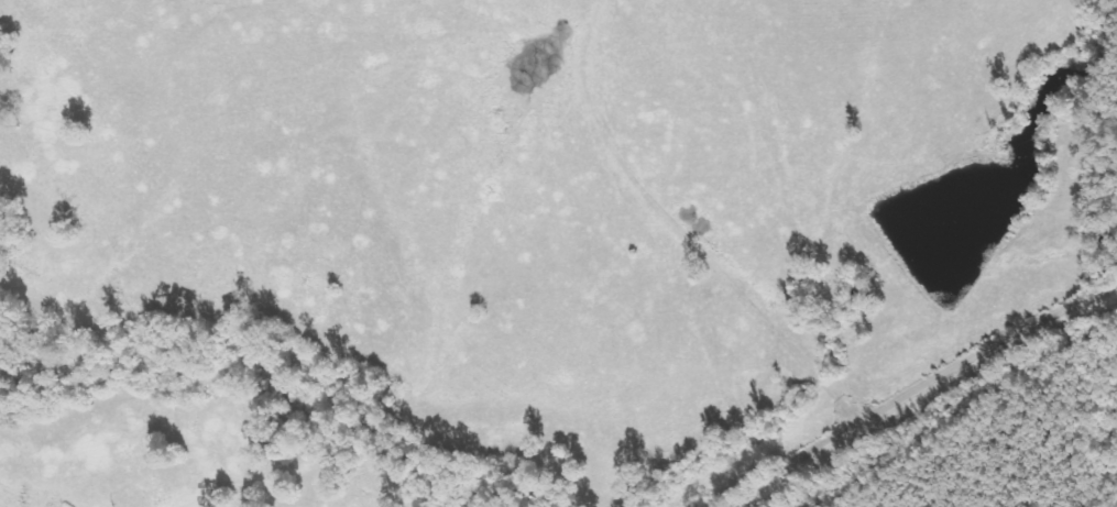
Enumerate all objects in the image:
road: (940, 392)

